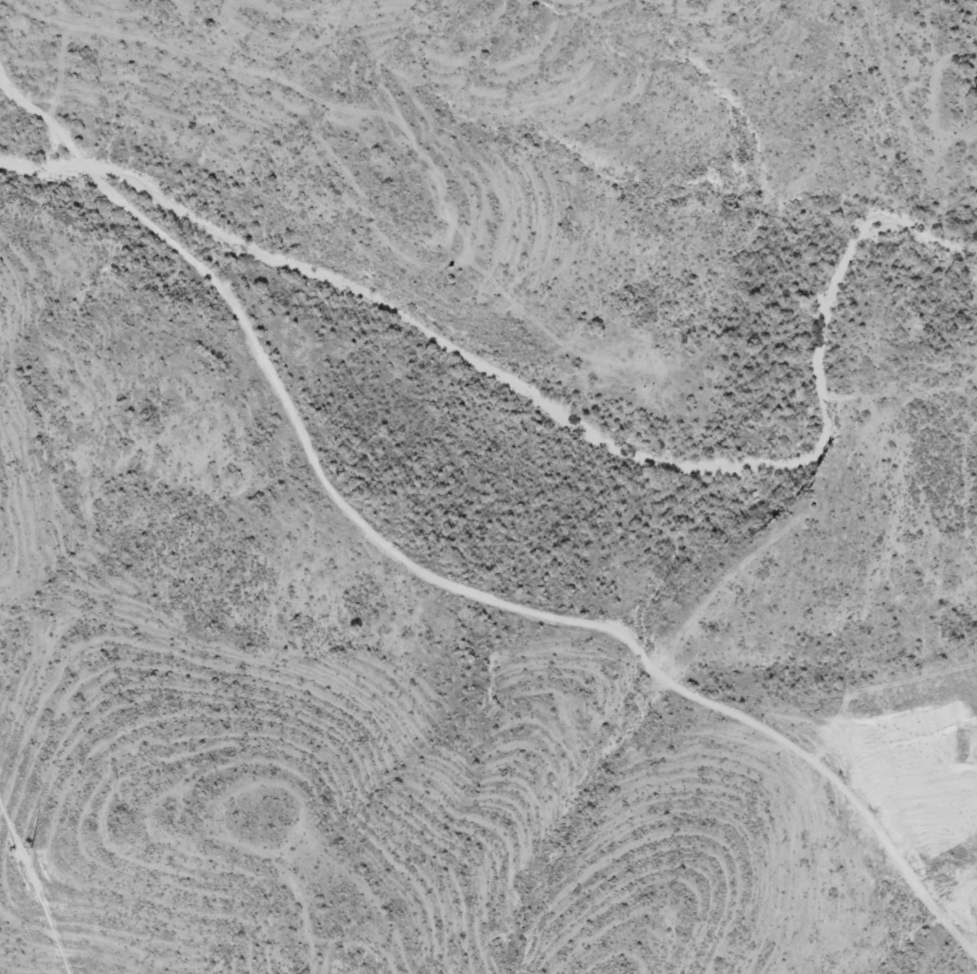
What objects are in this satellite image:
road: (434, 570)
power tower: (33, 842)

